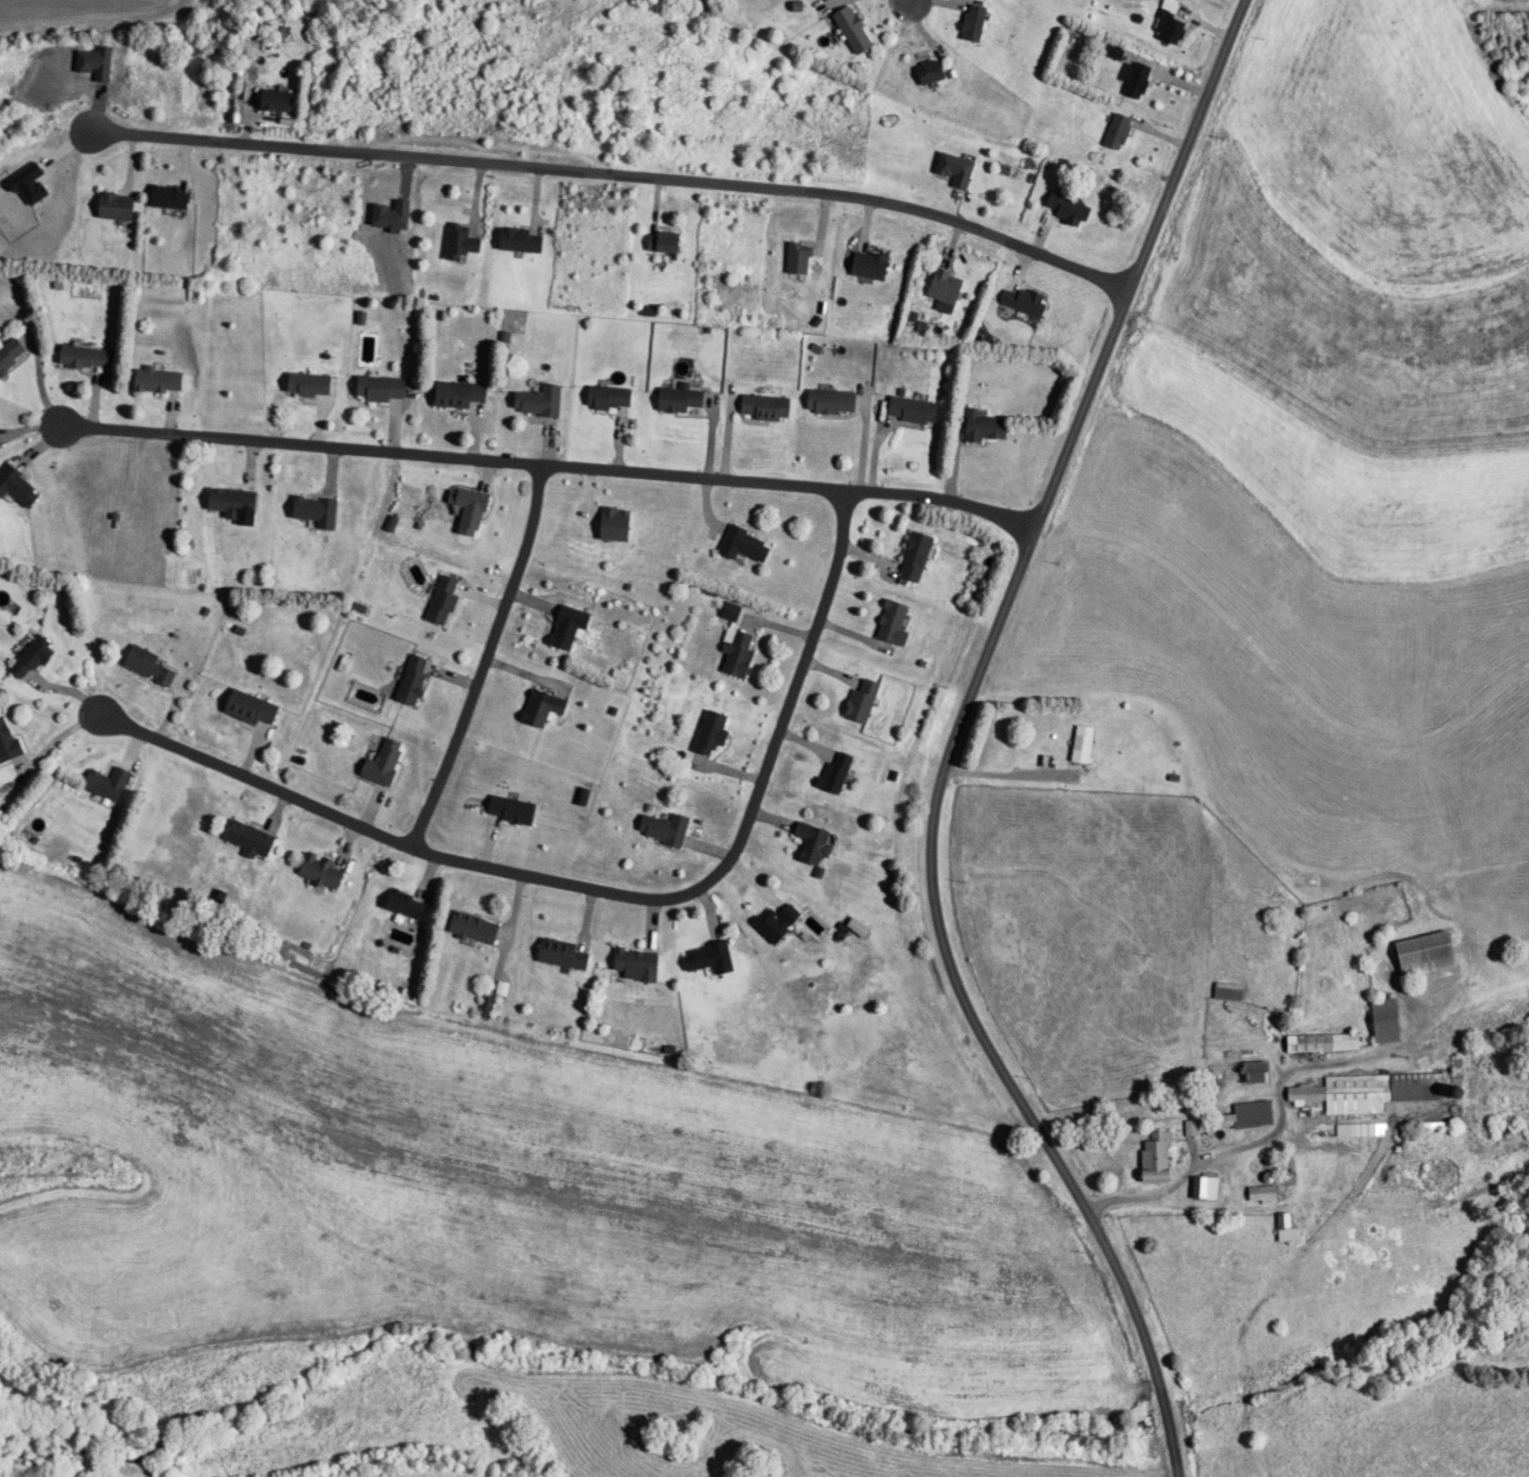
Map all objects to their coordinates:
building: (1170, 6)
road: (898, 13)
building: (974, 22)
building: (853, 30)
building: (1172, 30)
building: (280, 36)
building: (1115, 51)
building: (931, 71)
building: (1135, 79)
building: (276, 100)
building: (1118, 131)
road: (615, 170)
building: (116, 207)
building: (1069, 210)
building: (521, 240)
building: (461, 242)
building: (664, 244)
building: (799, 259)
building: (870, 265)
building: (946, 287)
building: (1027, 301)
building: (11, 353)
building: (84, 357)
building: (158, 380)
building: (310, 385)
building: (381, 389)
building: (460, 394)
building: (610, 398)
building: (680, 399)
building: (539, 402)
building: (832, 402)
building: (765, 407)
building: (913, 409)
building: (985, 427)
road: (527, 457)
building: (17, 487)
building: (233, 503)
building: (470, 510)
building: (316, 511)
building: (615, 525)
building: (745, 545)
building: (915, 556)
building: (444, 600)
building: (893, 623)
building: (569, 627)
road: (479, 651)
building: (738, 655)
building: (32, 657)
building: (149, 665)
building: (413, 679)
building: (862, 701)
building: (252, 708)
building: (543, 708)
building: (712, 733)
road: (940, 738)
building: (8, 742)
building: (1079, 744)
building: (384, 764)
building: (835, 774)
road: (998, 774)
building: (108, 783)
building: (512, 811)
building: (665, 830)
building: (251, 840)
building: (814, 846)
building: (321, 872)
road: (576, 880)
building: (406, 905)
building: (776, 923)
building: (474, 928)
building: (564, 954)
building: (1427, 954)
building: (710, 959)
building: (639, 964)
building: (1228, 991)
building: (1386, 1020)
building: (1323, 1042)
building: (1240, 1073)
building: (1372, 1091)
building: (1245, 1116)
building: (1191, 1128)
road: (1256, 1131)
building: (1157, 1158)
building: (1206, 1188)
building: (1263, 1194)
building: (1288, 1229)

